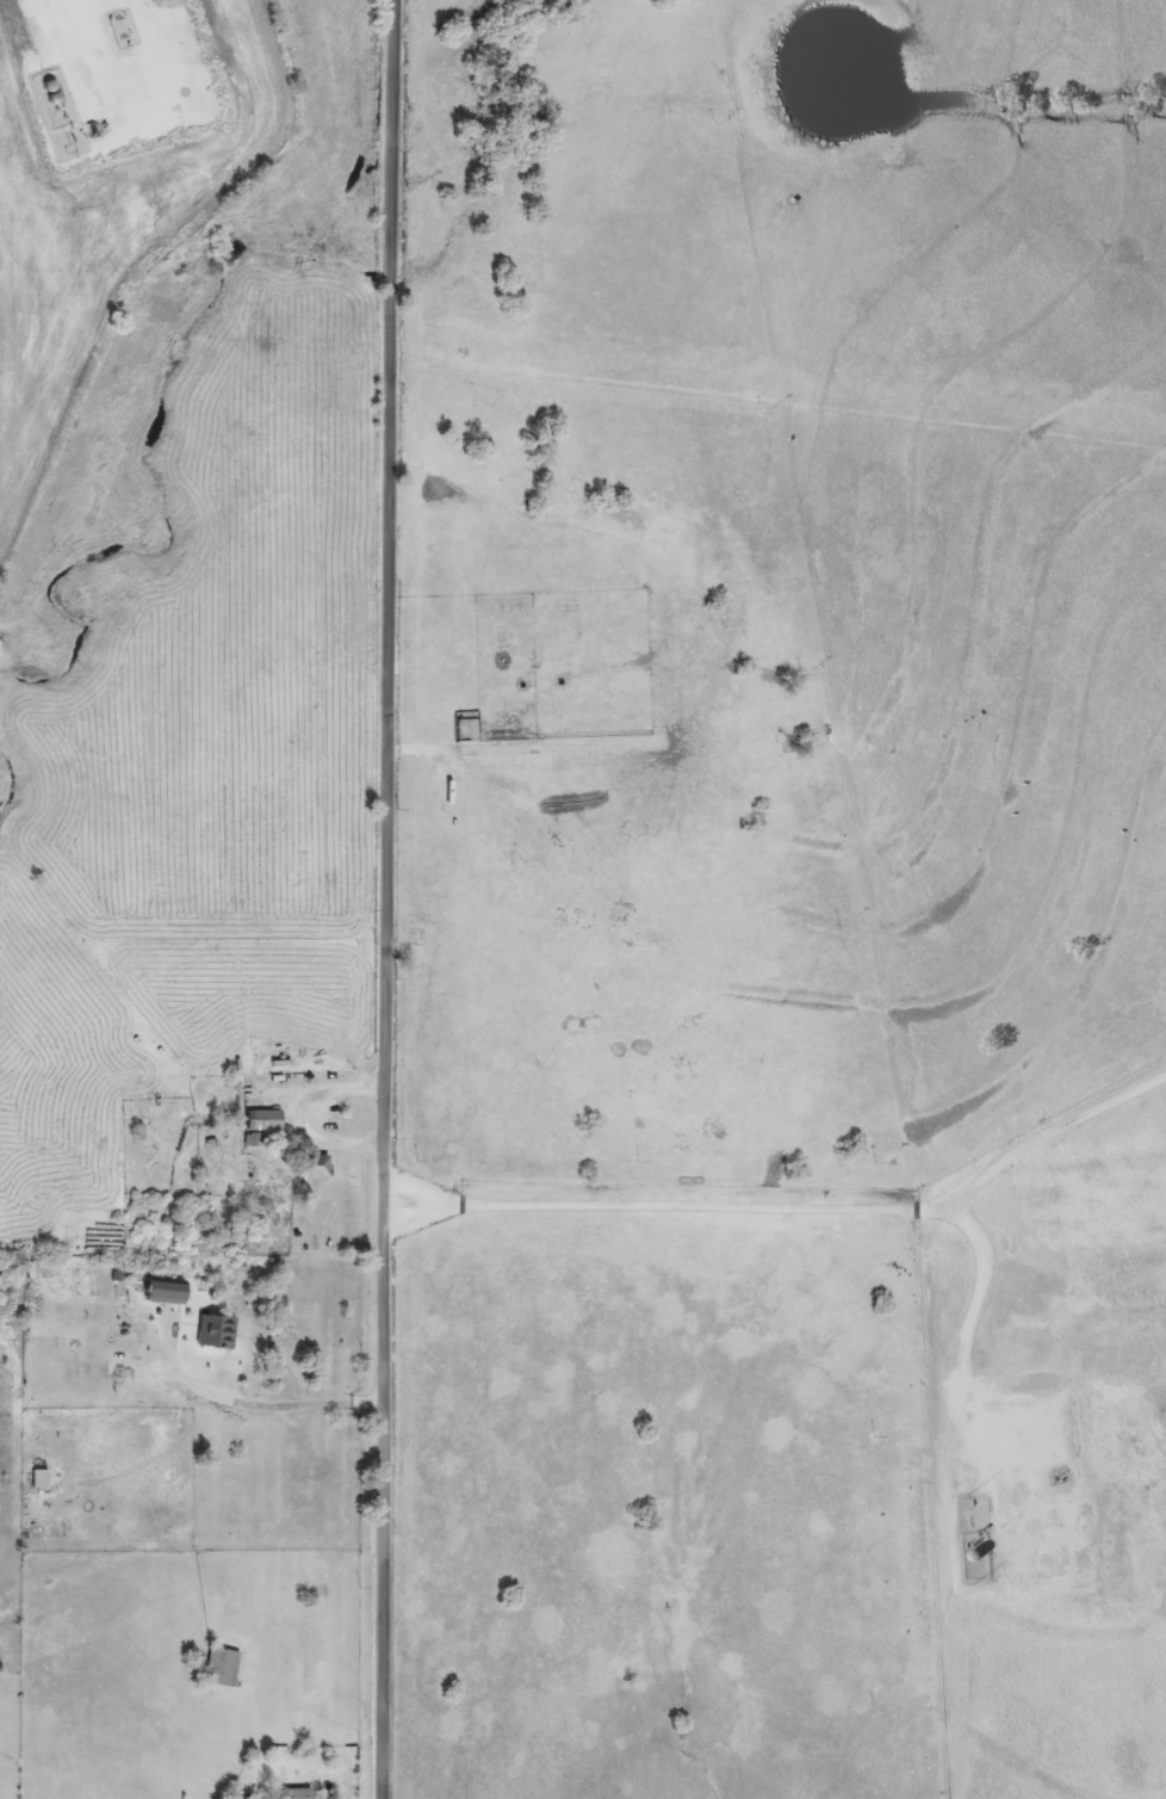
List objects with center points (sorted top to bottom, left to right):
road: (384, 898)
building: (267, 1119)
building: (315, 1163)
building: (118, 1291)
building: (169, 1292)
building: (217, 1330)
road: (258, 1403)
building: (42, 1478)
building: (223, 1667)
building: (298, 1793)

